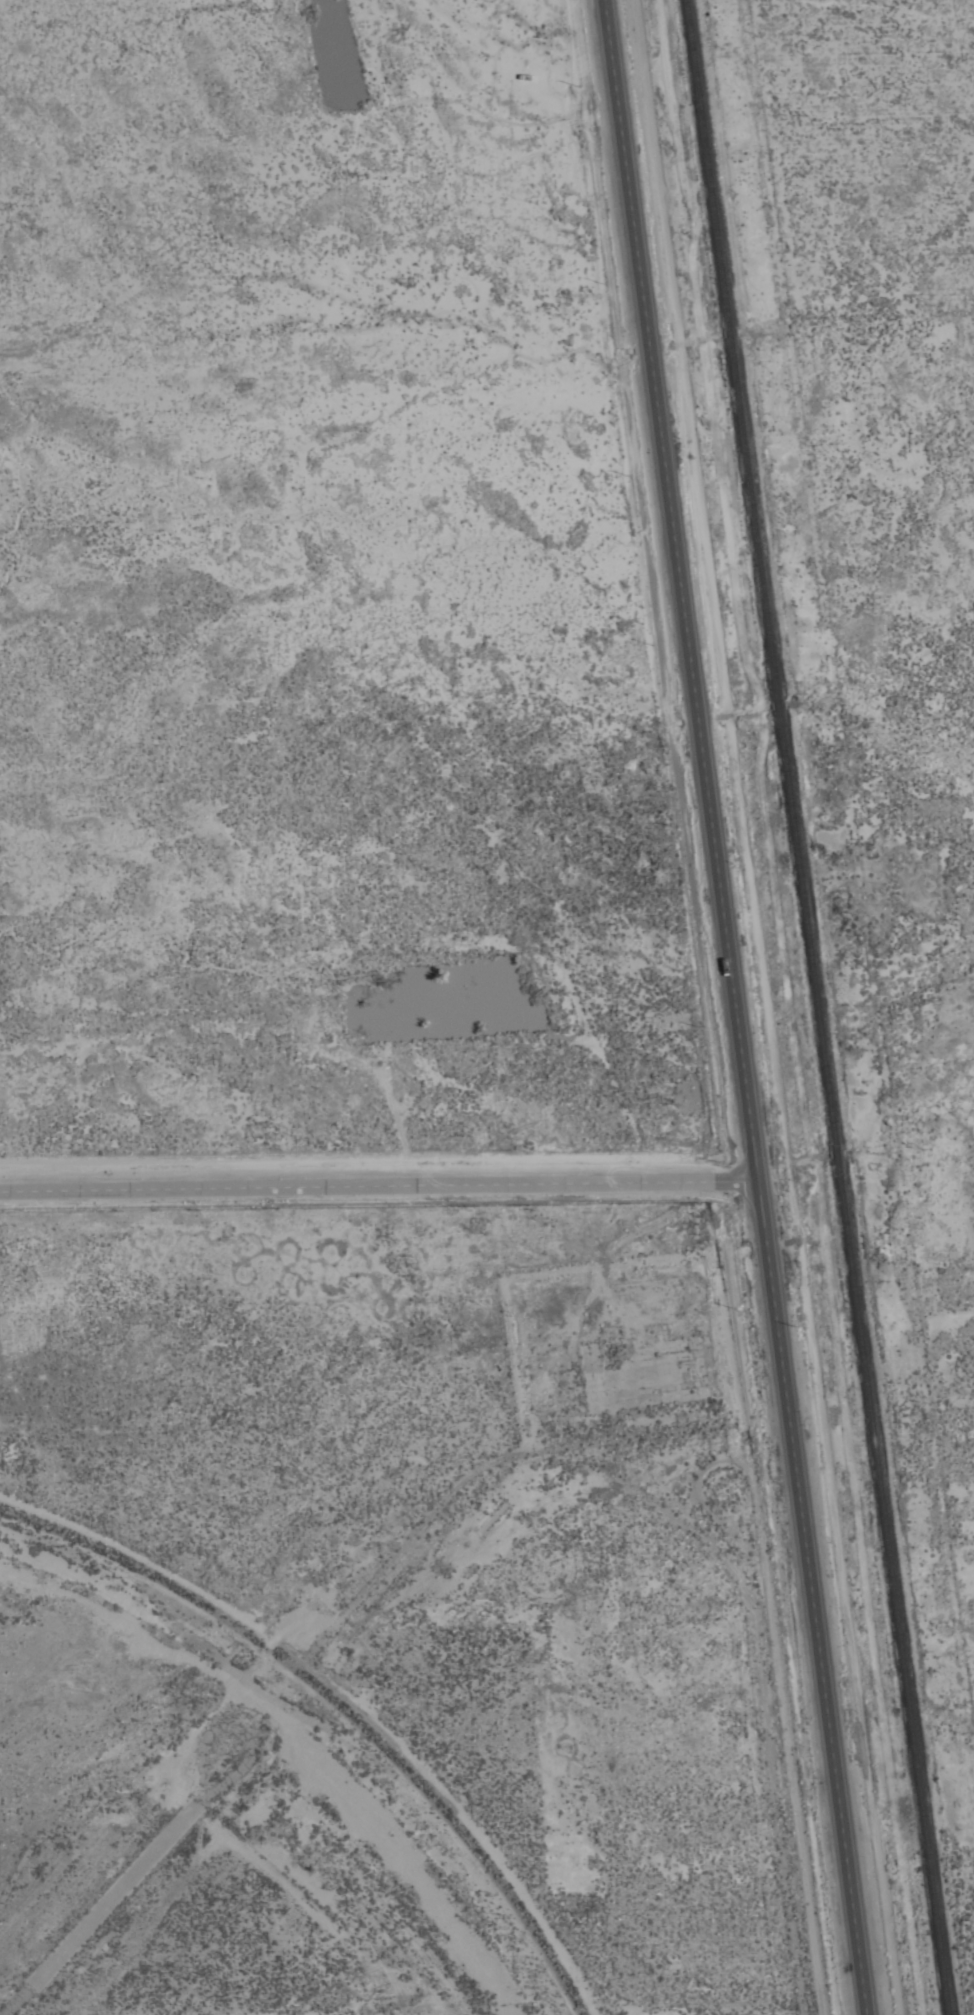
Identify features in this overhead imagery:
road: (731, 1007)
railway: (817, 1007)
road: (376, 1184)
airport runway: (115, 1892)

